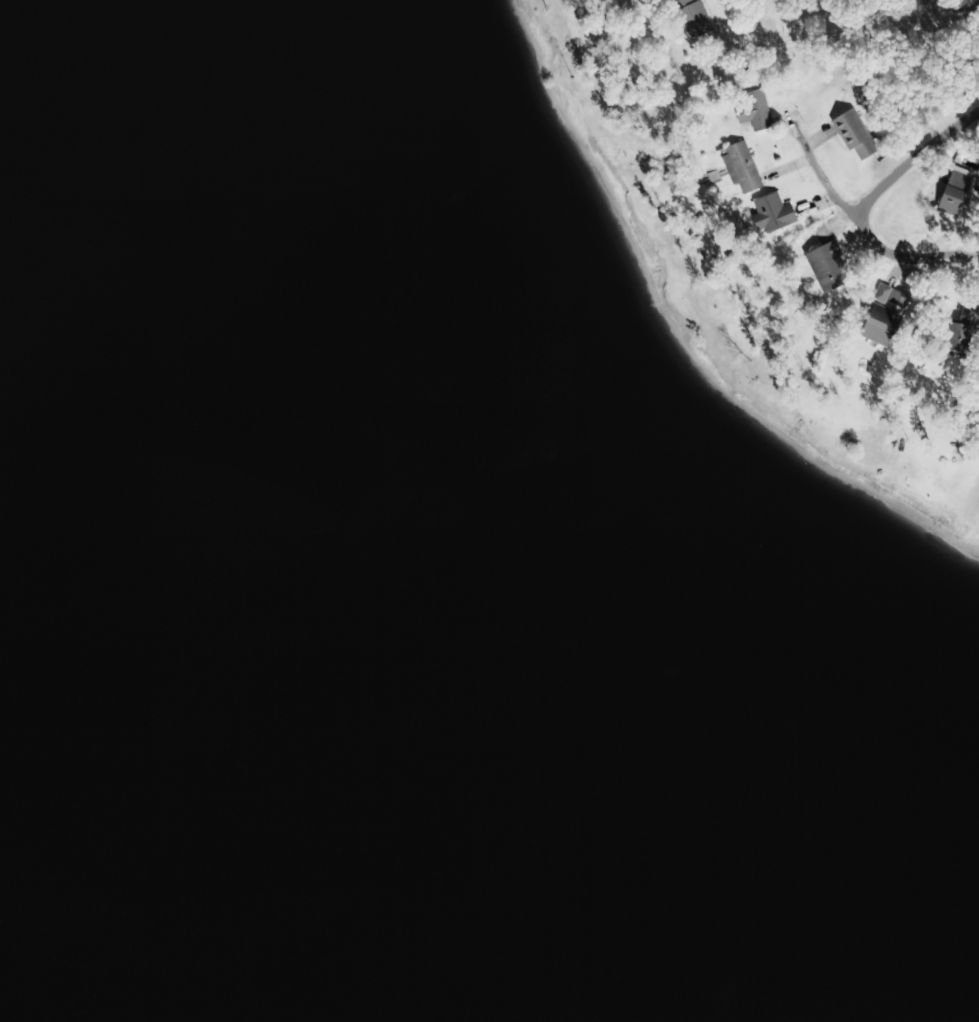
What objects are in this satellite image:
building: (691, 15)
building: (756, 111)
building: (853, 134)
road: (812, 143)
building: (741, 168)
road: (934, 168)
building: (954, 190)
road: (910, 249)
building: (827, 266)
building: (892, 304)
building: (875, 333)
building: (960, 334)

